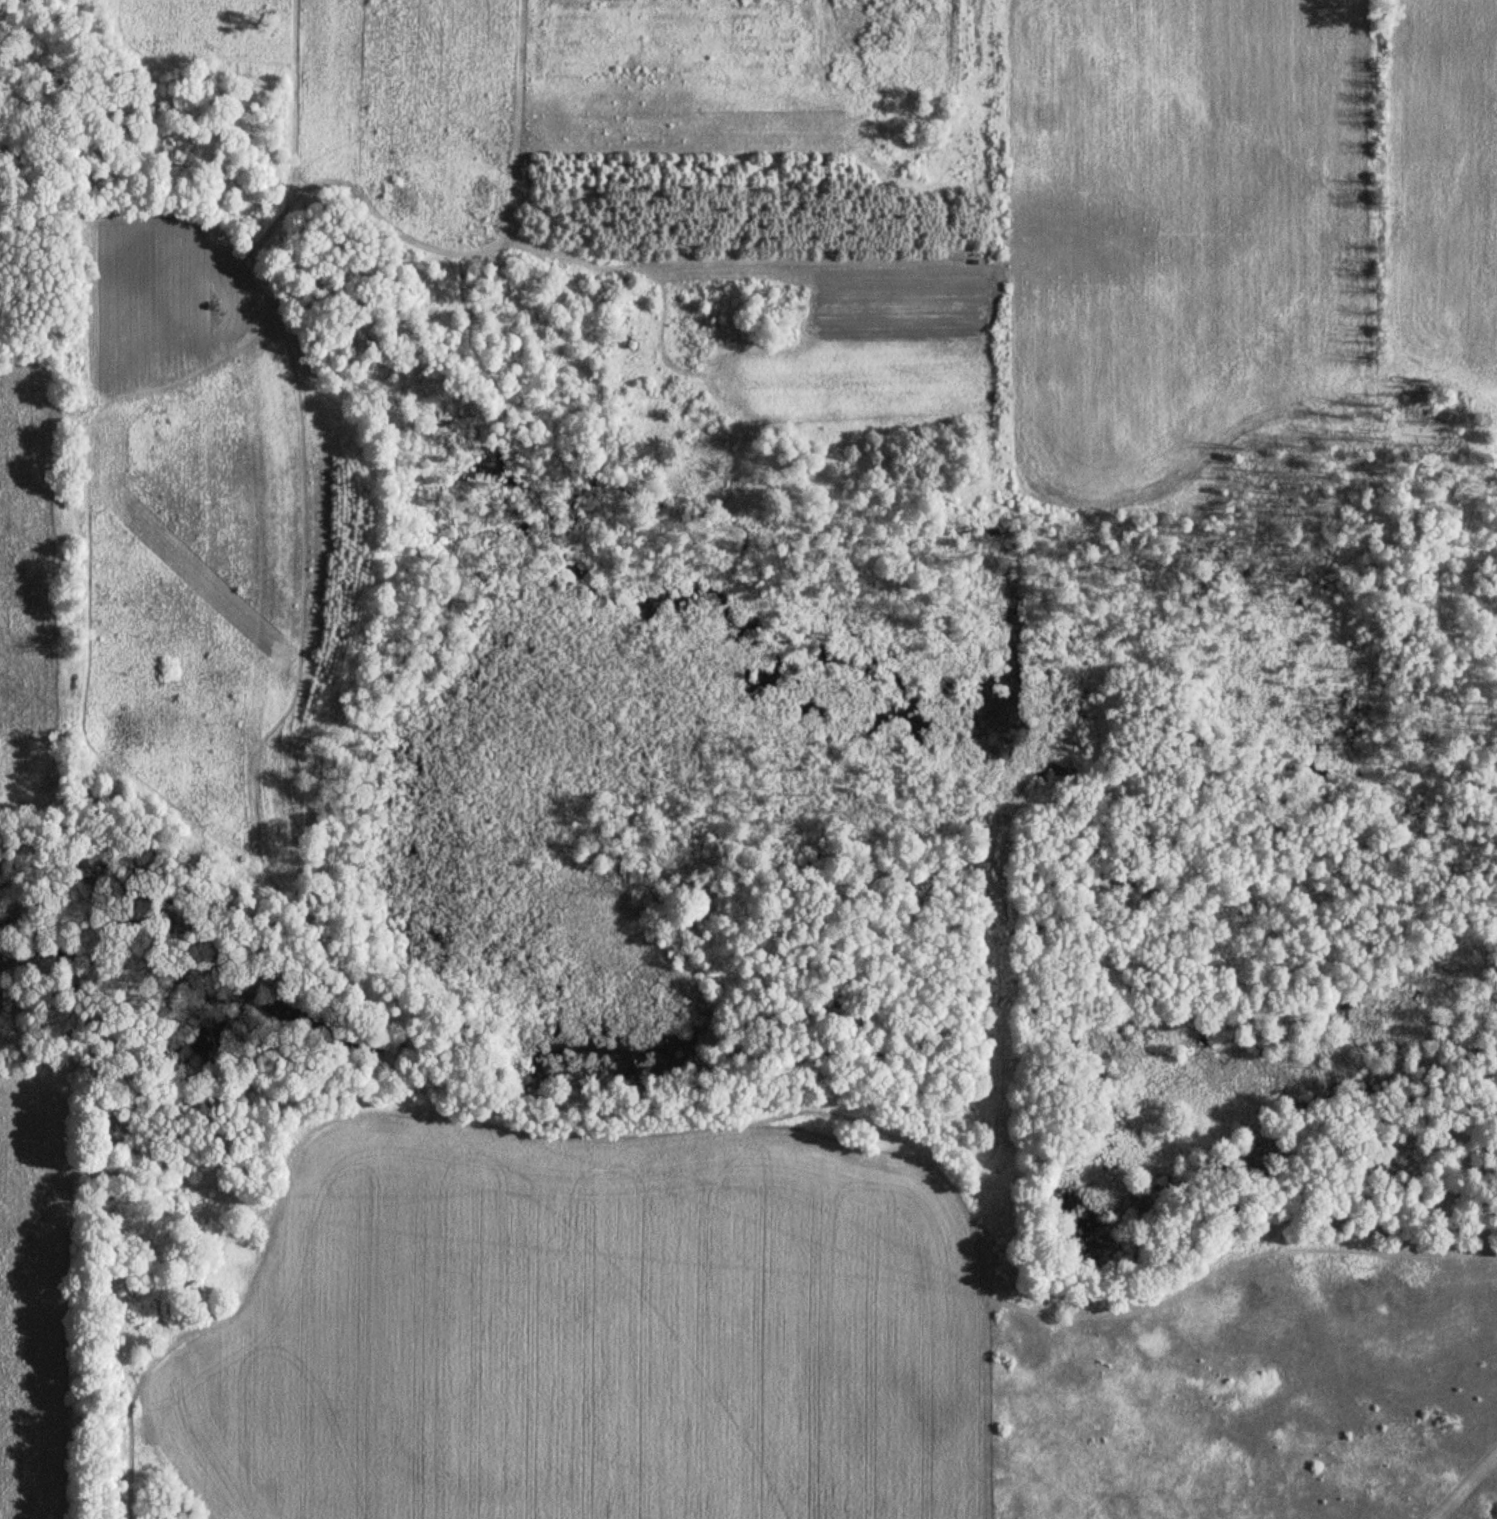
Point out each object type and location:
road: (132, 1139)

